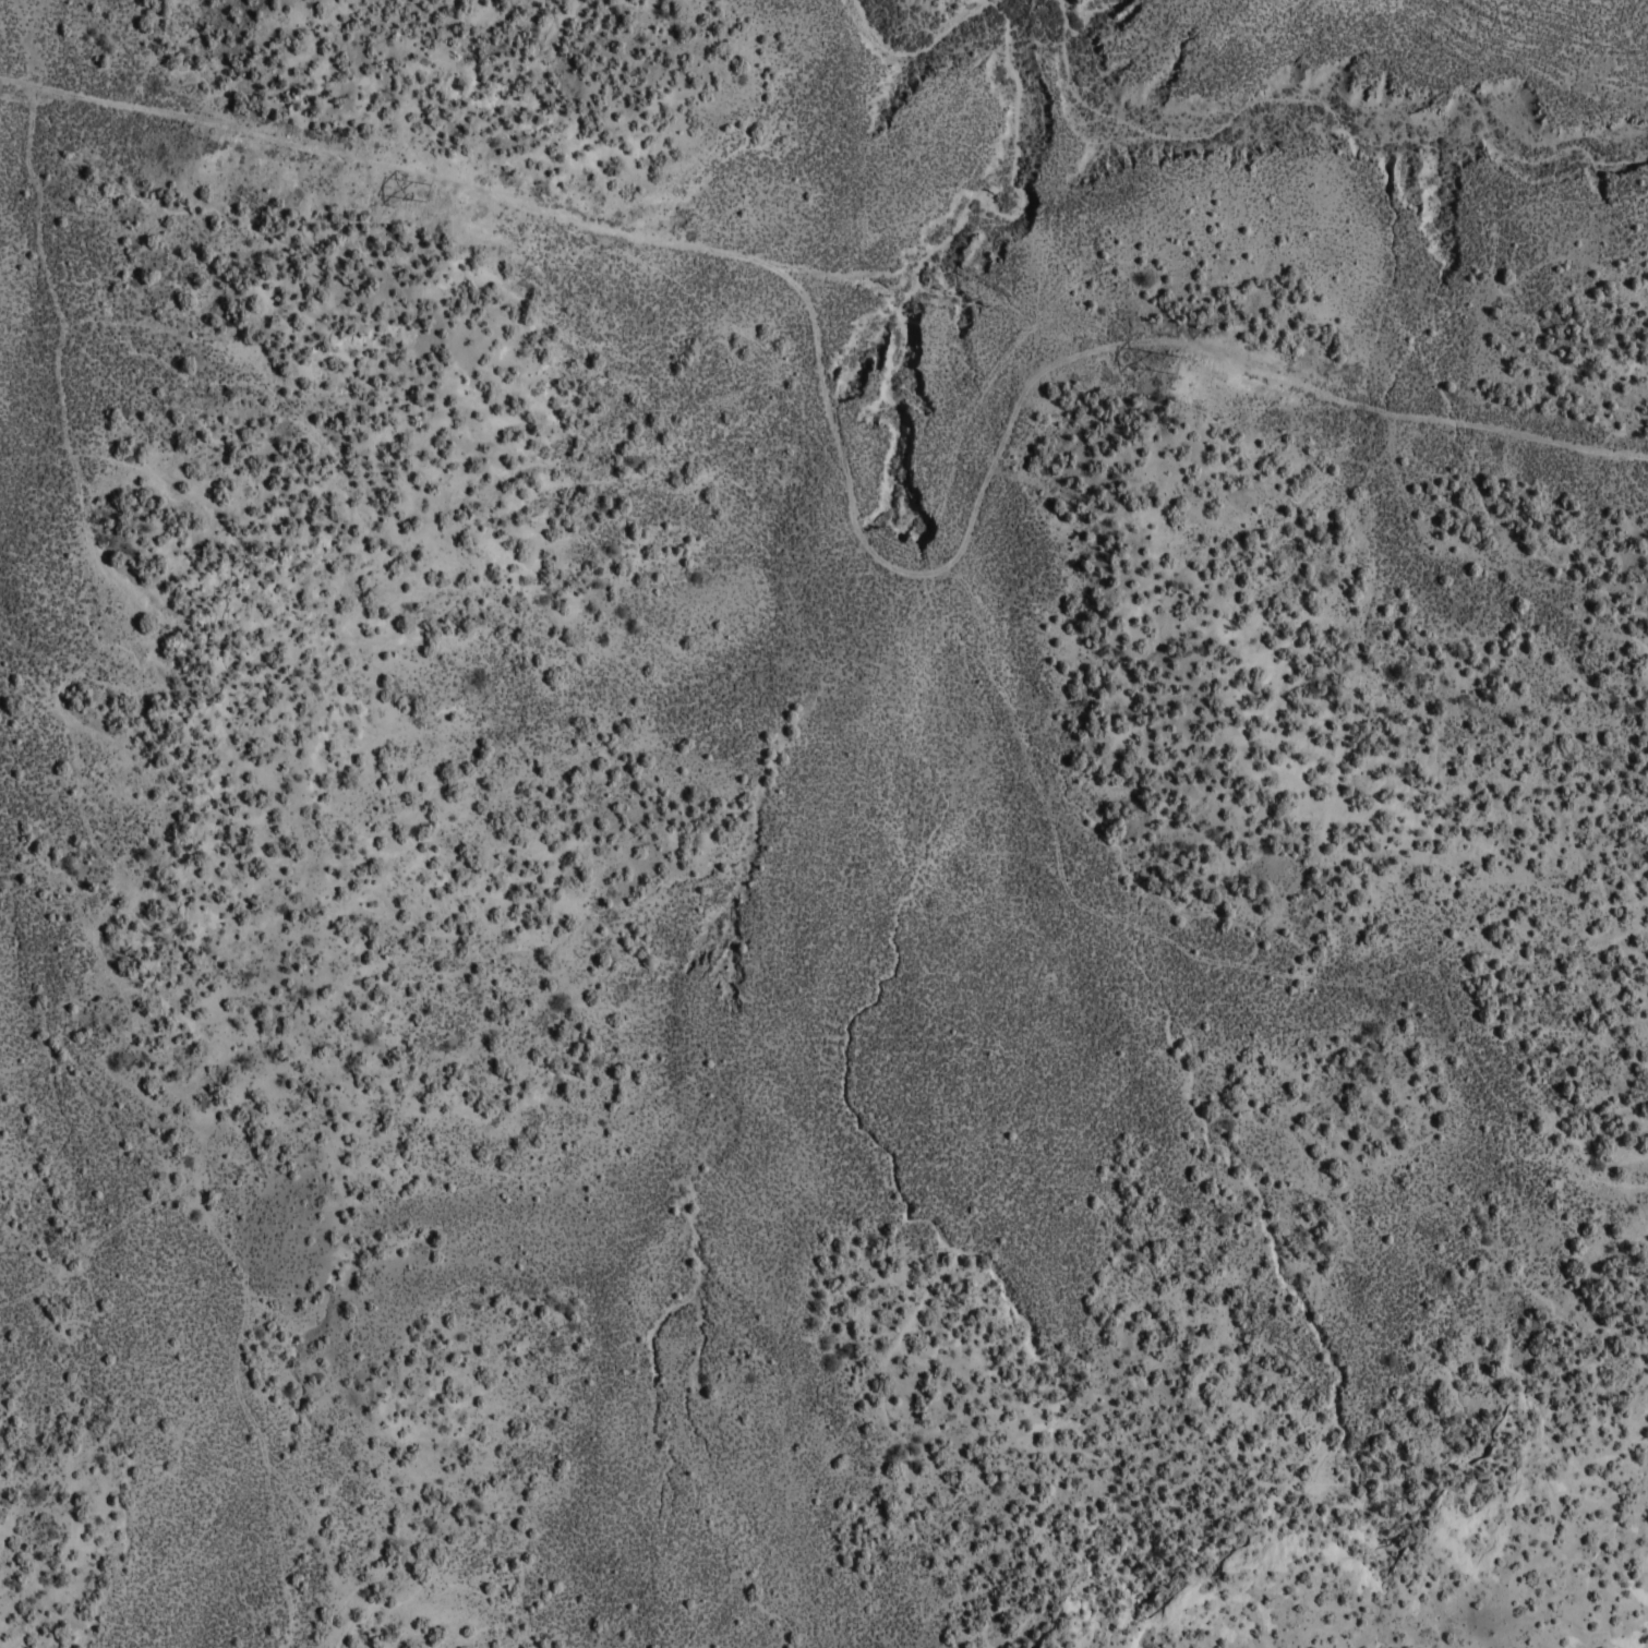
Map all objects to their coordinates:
river: (1203, 141)
power tower: (426, 192)
power tower: (1175, 364)

